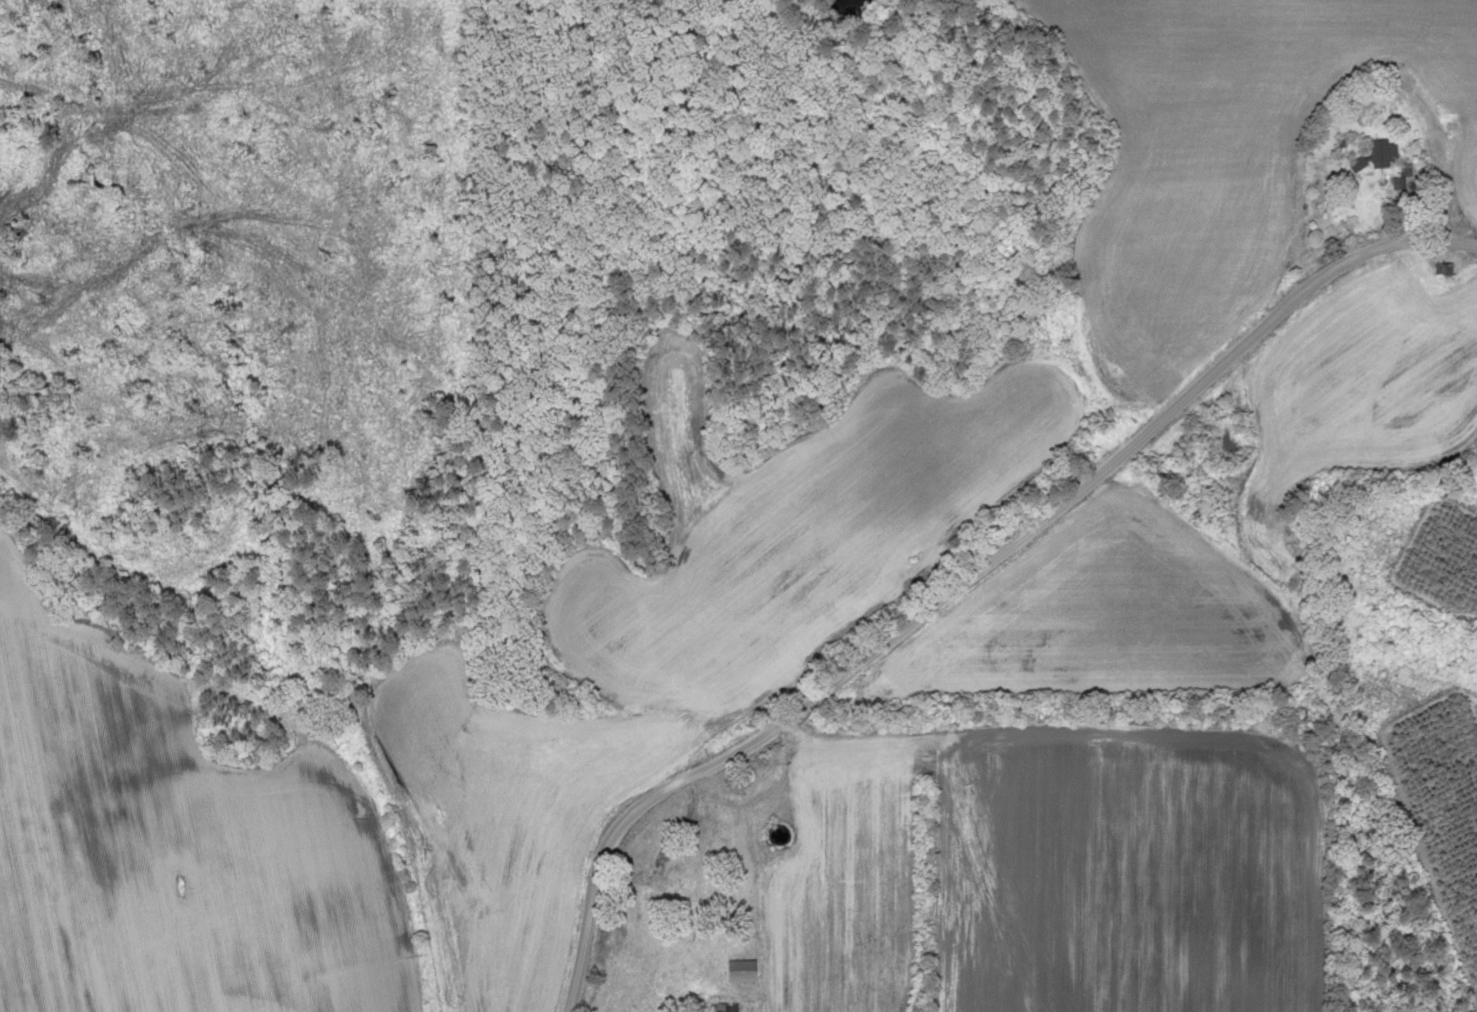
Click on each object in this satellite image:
building: (1380, 153)
building: (1354, 164)
building: (1442, 269)
road: (970, 577)
building: (645, 874)
building: (737, 972)
building: (719, 1008)

